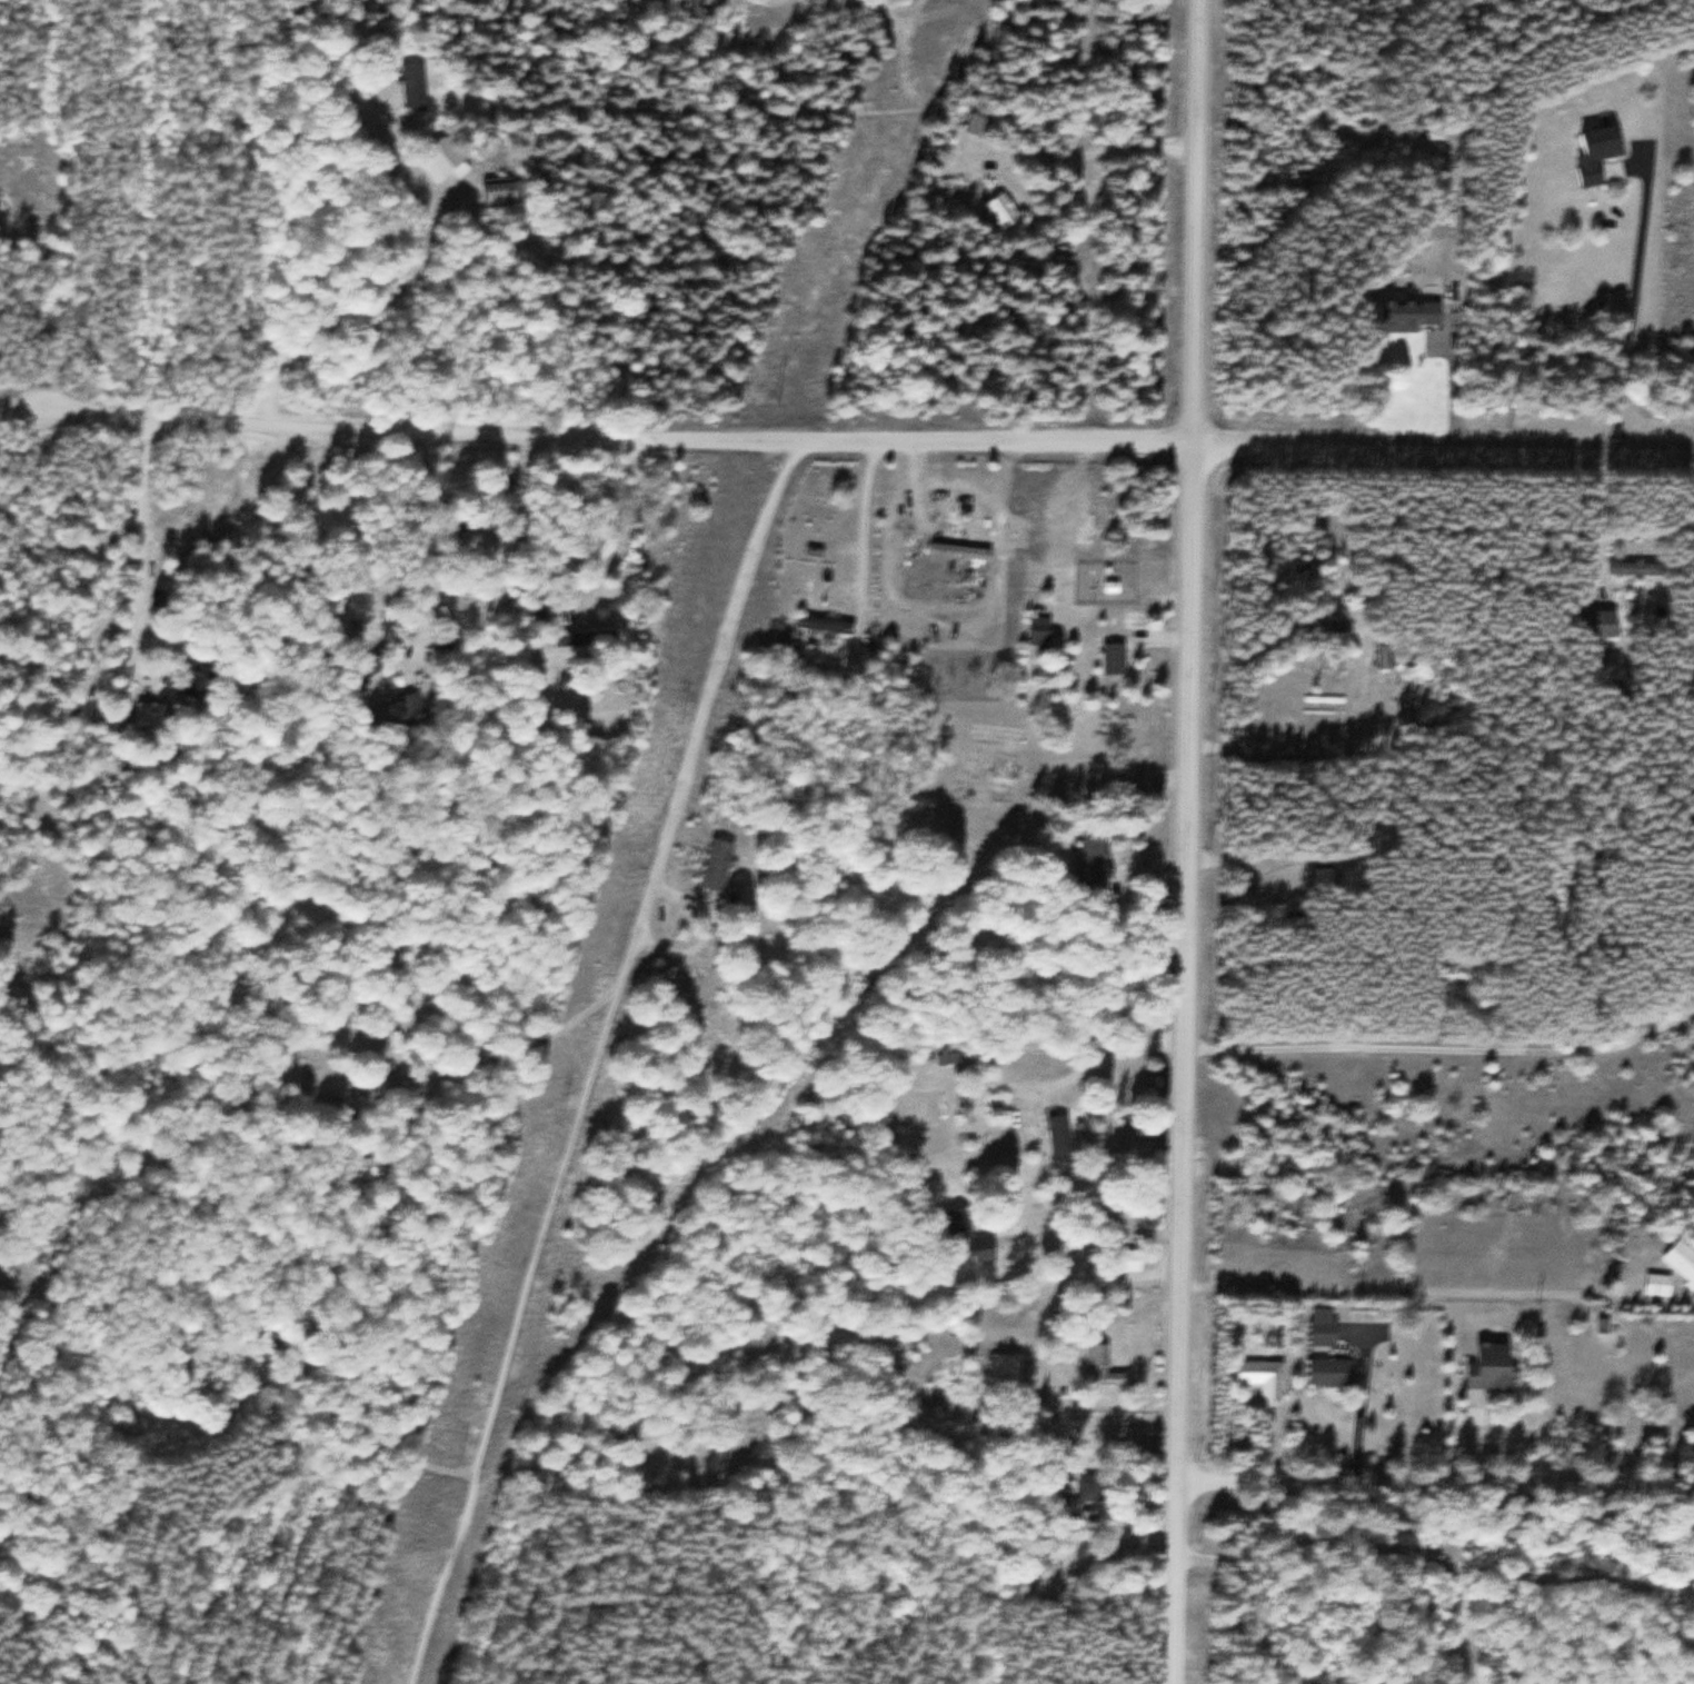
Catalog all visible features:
building: (412, 86)
building: (974, 124)
building: (1595, 153)
building: (440, 156)
building: (999, 210)
building: (1407, 316)
road: (597, 435)
road: (1444, 444)
building: (477, 537)
building: (1022, 540)
building: (1635, 568)
building: (1601, 622)
building: (823, 625)
building: (1317, 626)
building: (1038, 630)
building: (589, 640)
building: (1112, 658)
building: (375, 666)
building: (192, 679)
building: (408, 705)
road: (1186, 841)
building: (1090, 859)
building: (715, 866)
building: (1321, 879)
road: (1441, 1045)
road: (608, 1064)
building: (1058, 1135)
building: (363, 1167)
building: (965, 1236)
building: (1681, 1258)
building: (1656, 1284)
road: (1392, 1292)
building: (1322, 1332)
building: (268, 1341)
building: (1491, 1366)
building: (1102, 1367)
building: (1003, 1369)
building: (1329, 1372)
building: (1262, 1376)
road: (1435, 1482)
building: (1086, 1487)
road: (1435, 1546)
road: (1453, 1611)

